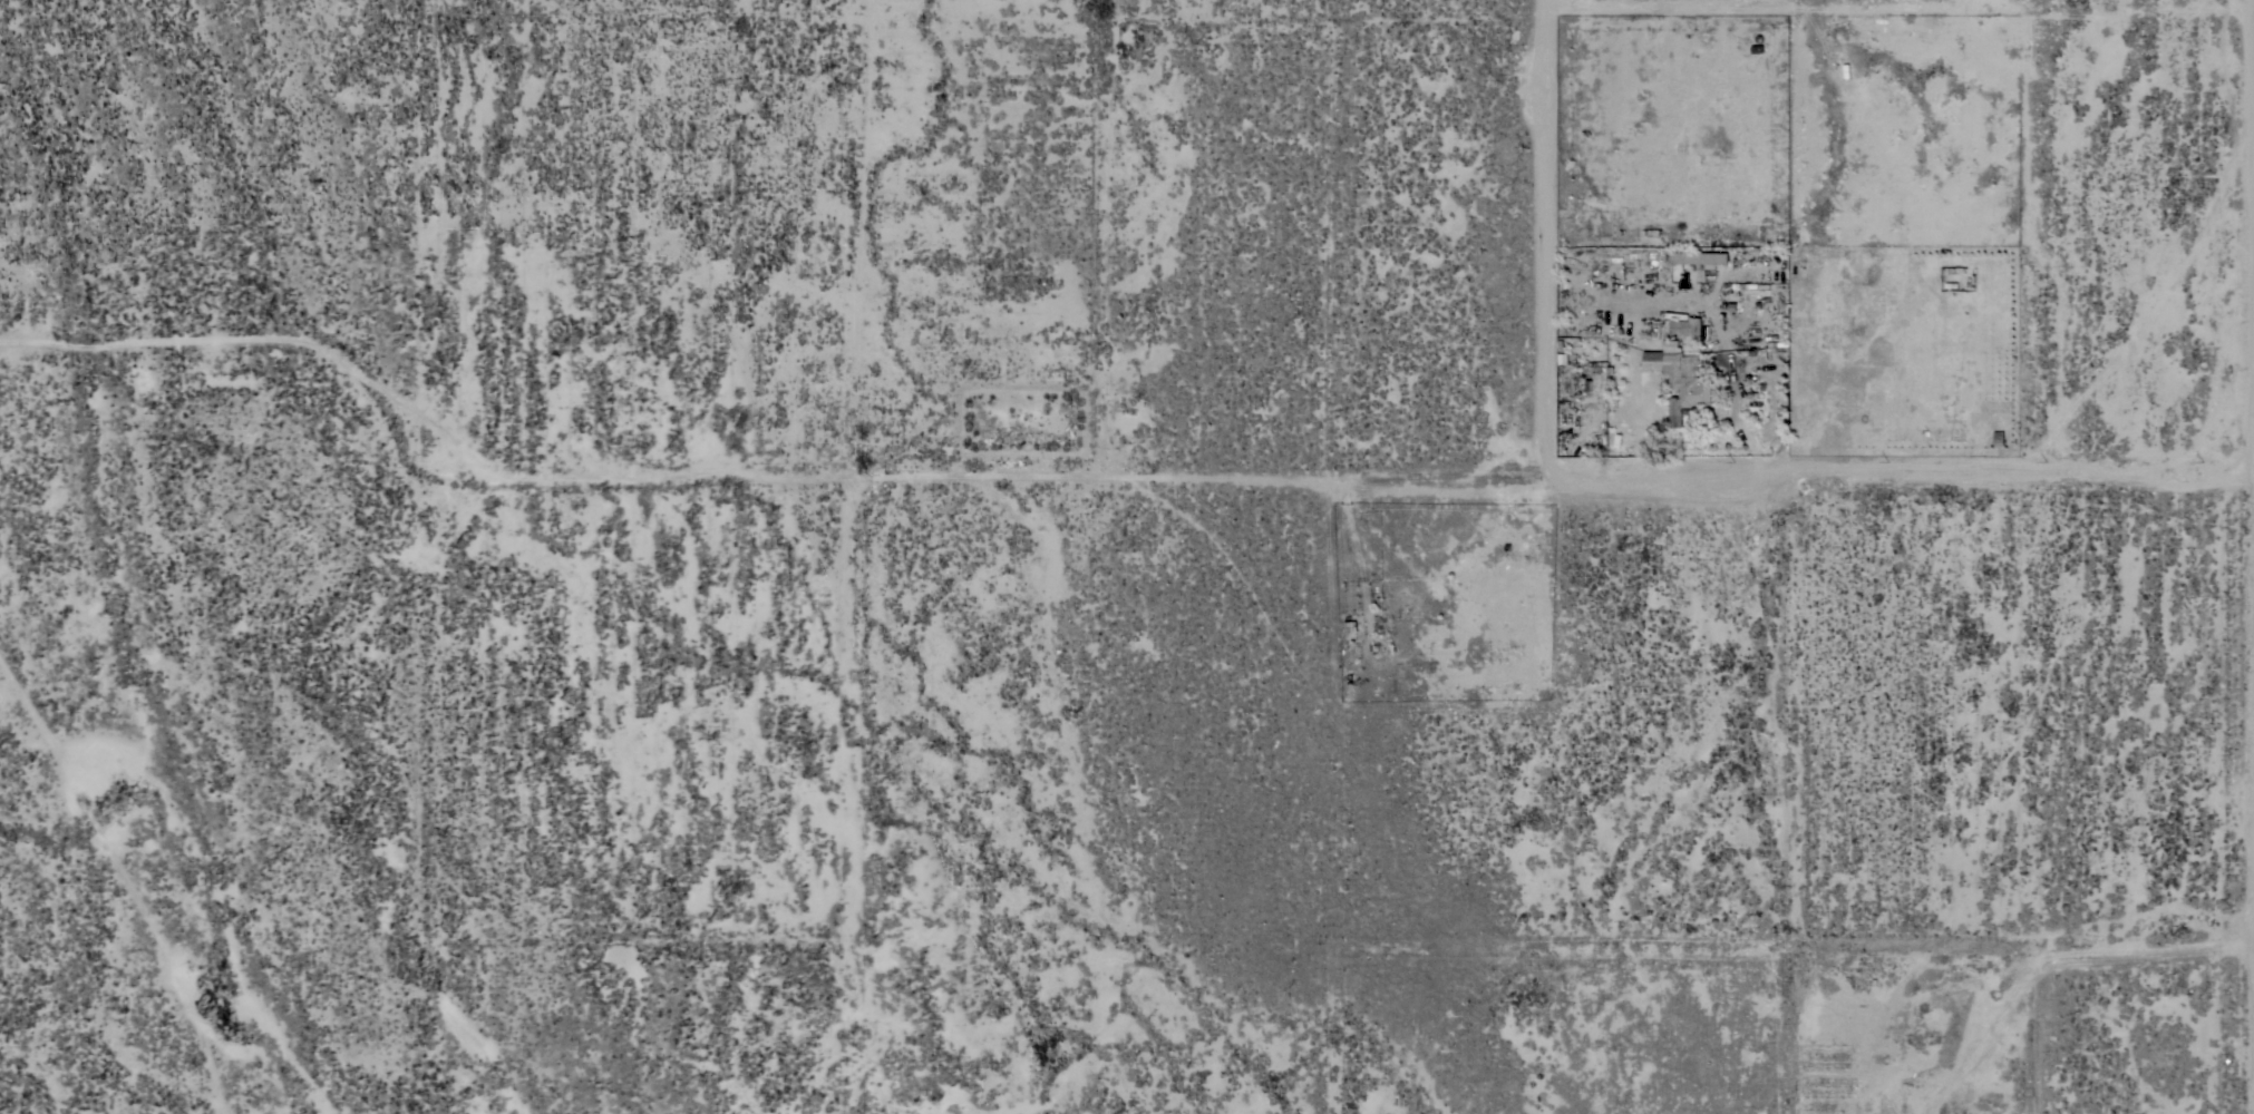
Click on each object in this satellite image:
building: (1651, 233)
building: (1699, 258)
building: (1672, 326)
building: (1682, 326)
building: (1694, 326)
building: (1678, 383)
road: (1731, 417)
road: (1660, 473)
road: (2245, 557)
road: (2250, 937)

